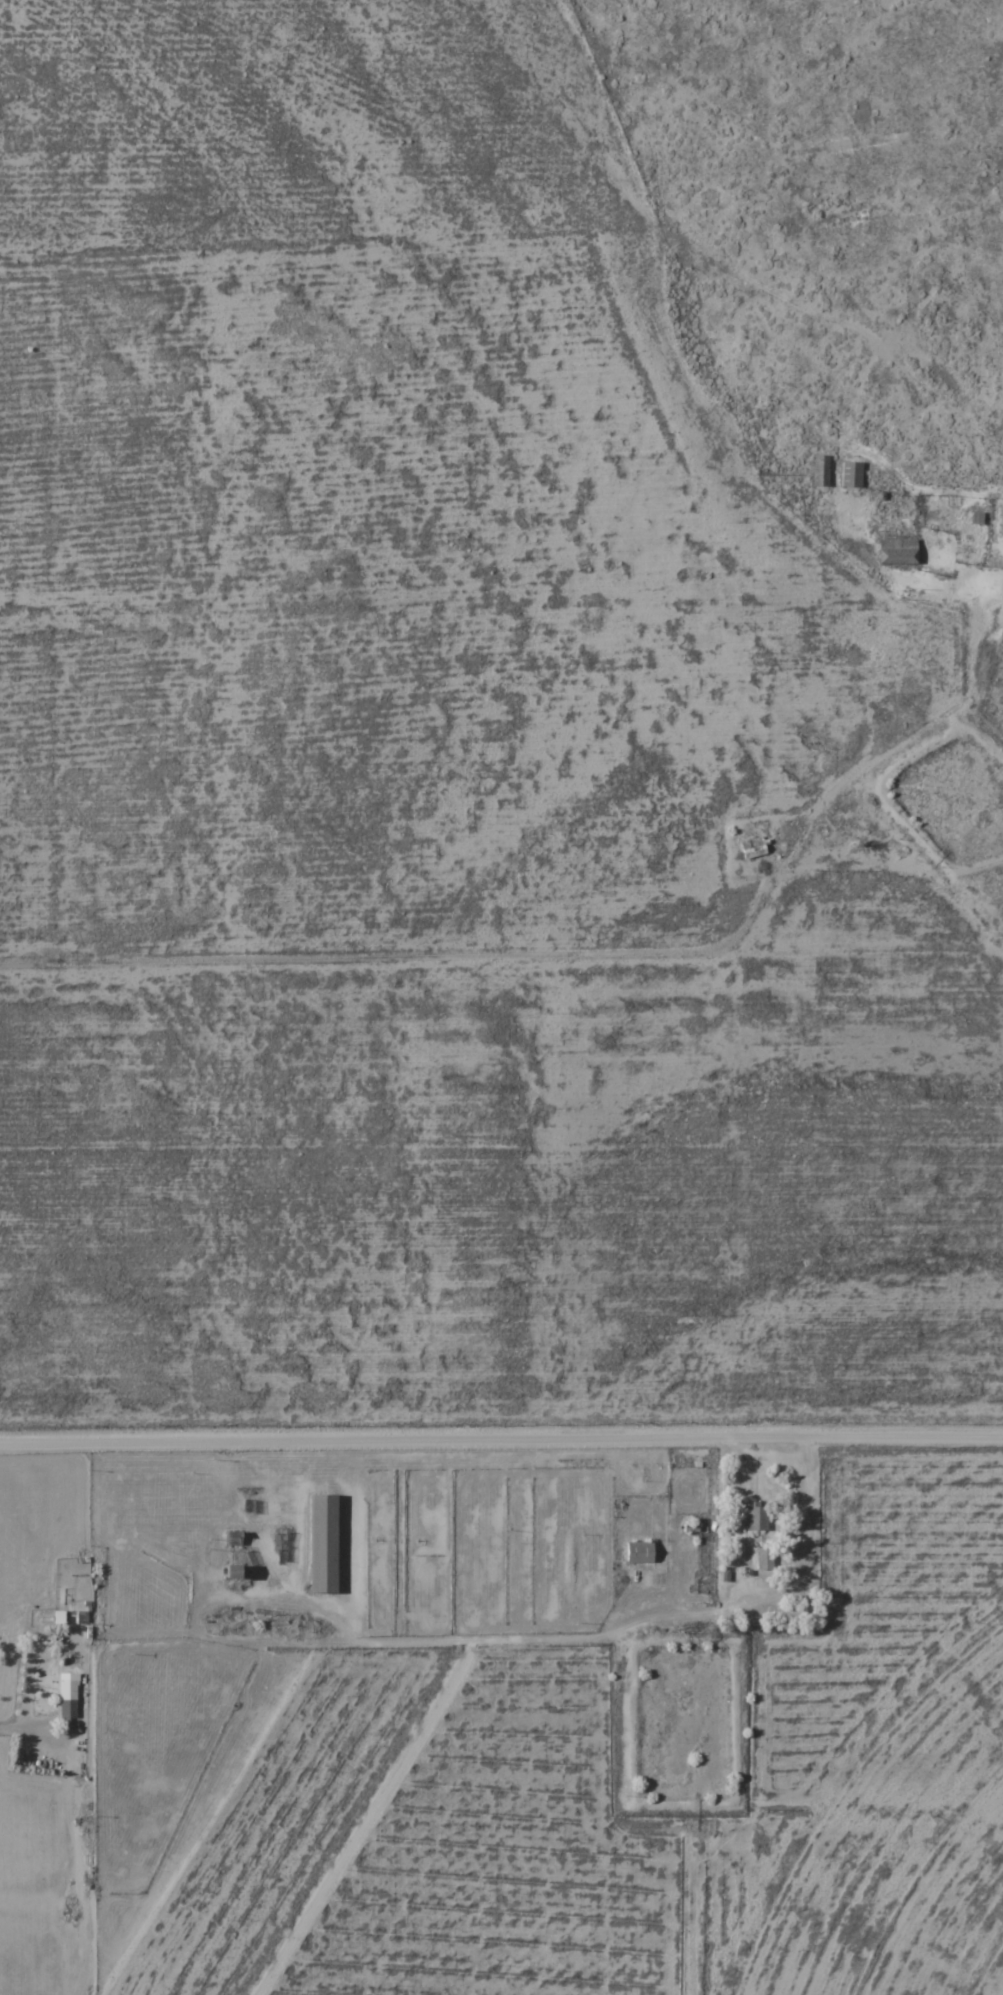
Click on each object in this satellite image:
building: (823, 469)
building: (854, 473)
building: (899, 550)
building: (754, 847)
road: (416, 955)
road: (501, 1439)
building: (759, 1514)
building: (325, 1543)
building: (641, 1551)
building: (767, 1557)
building: (236, 1570)
building: (790, 1614)
building: (68, 1693)

